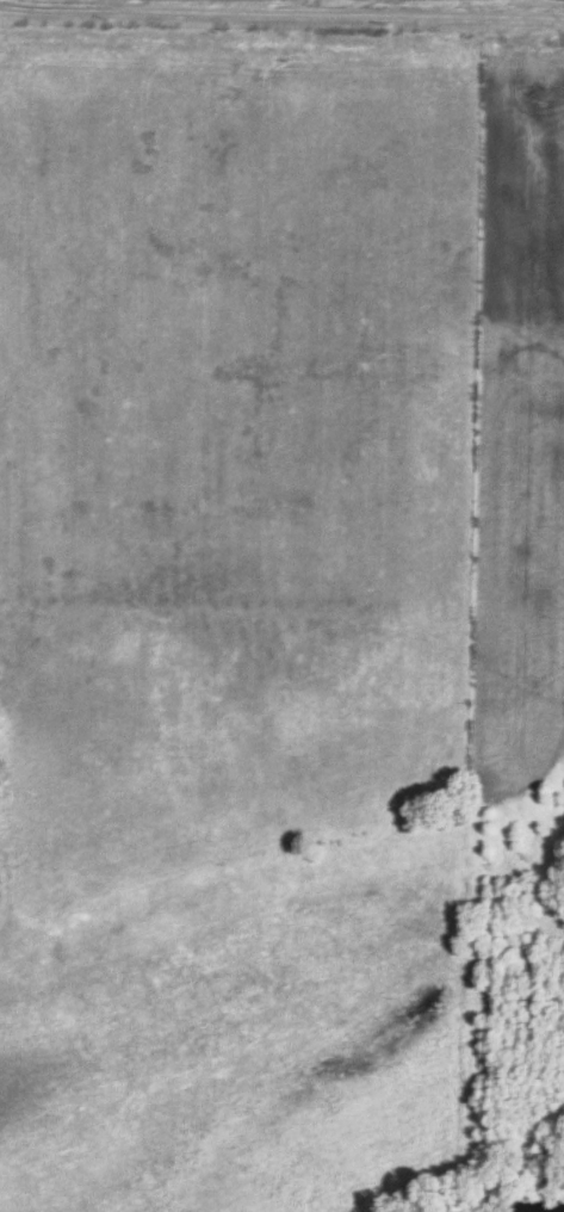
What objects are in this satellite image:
river: (552, 1206)

